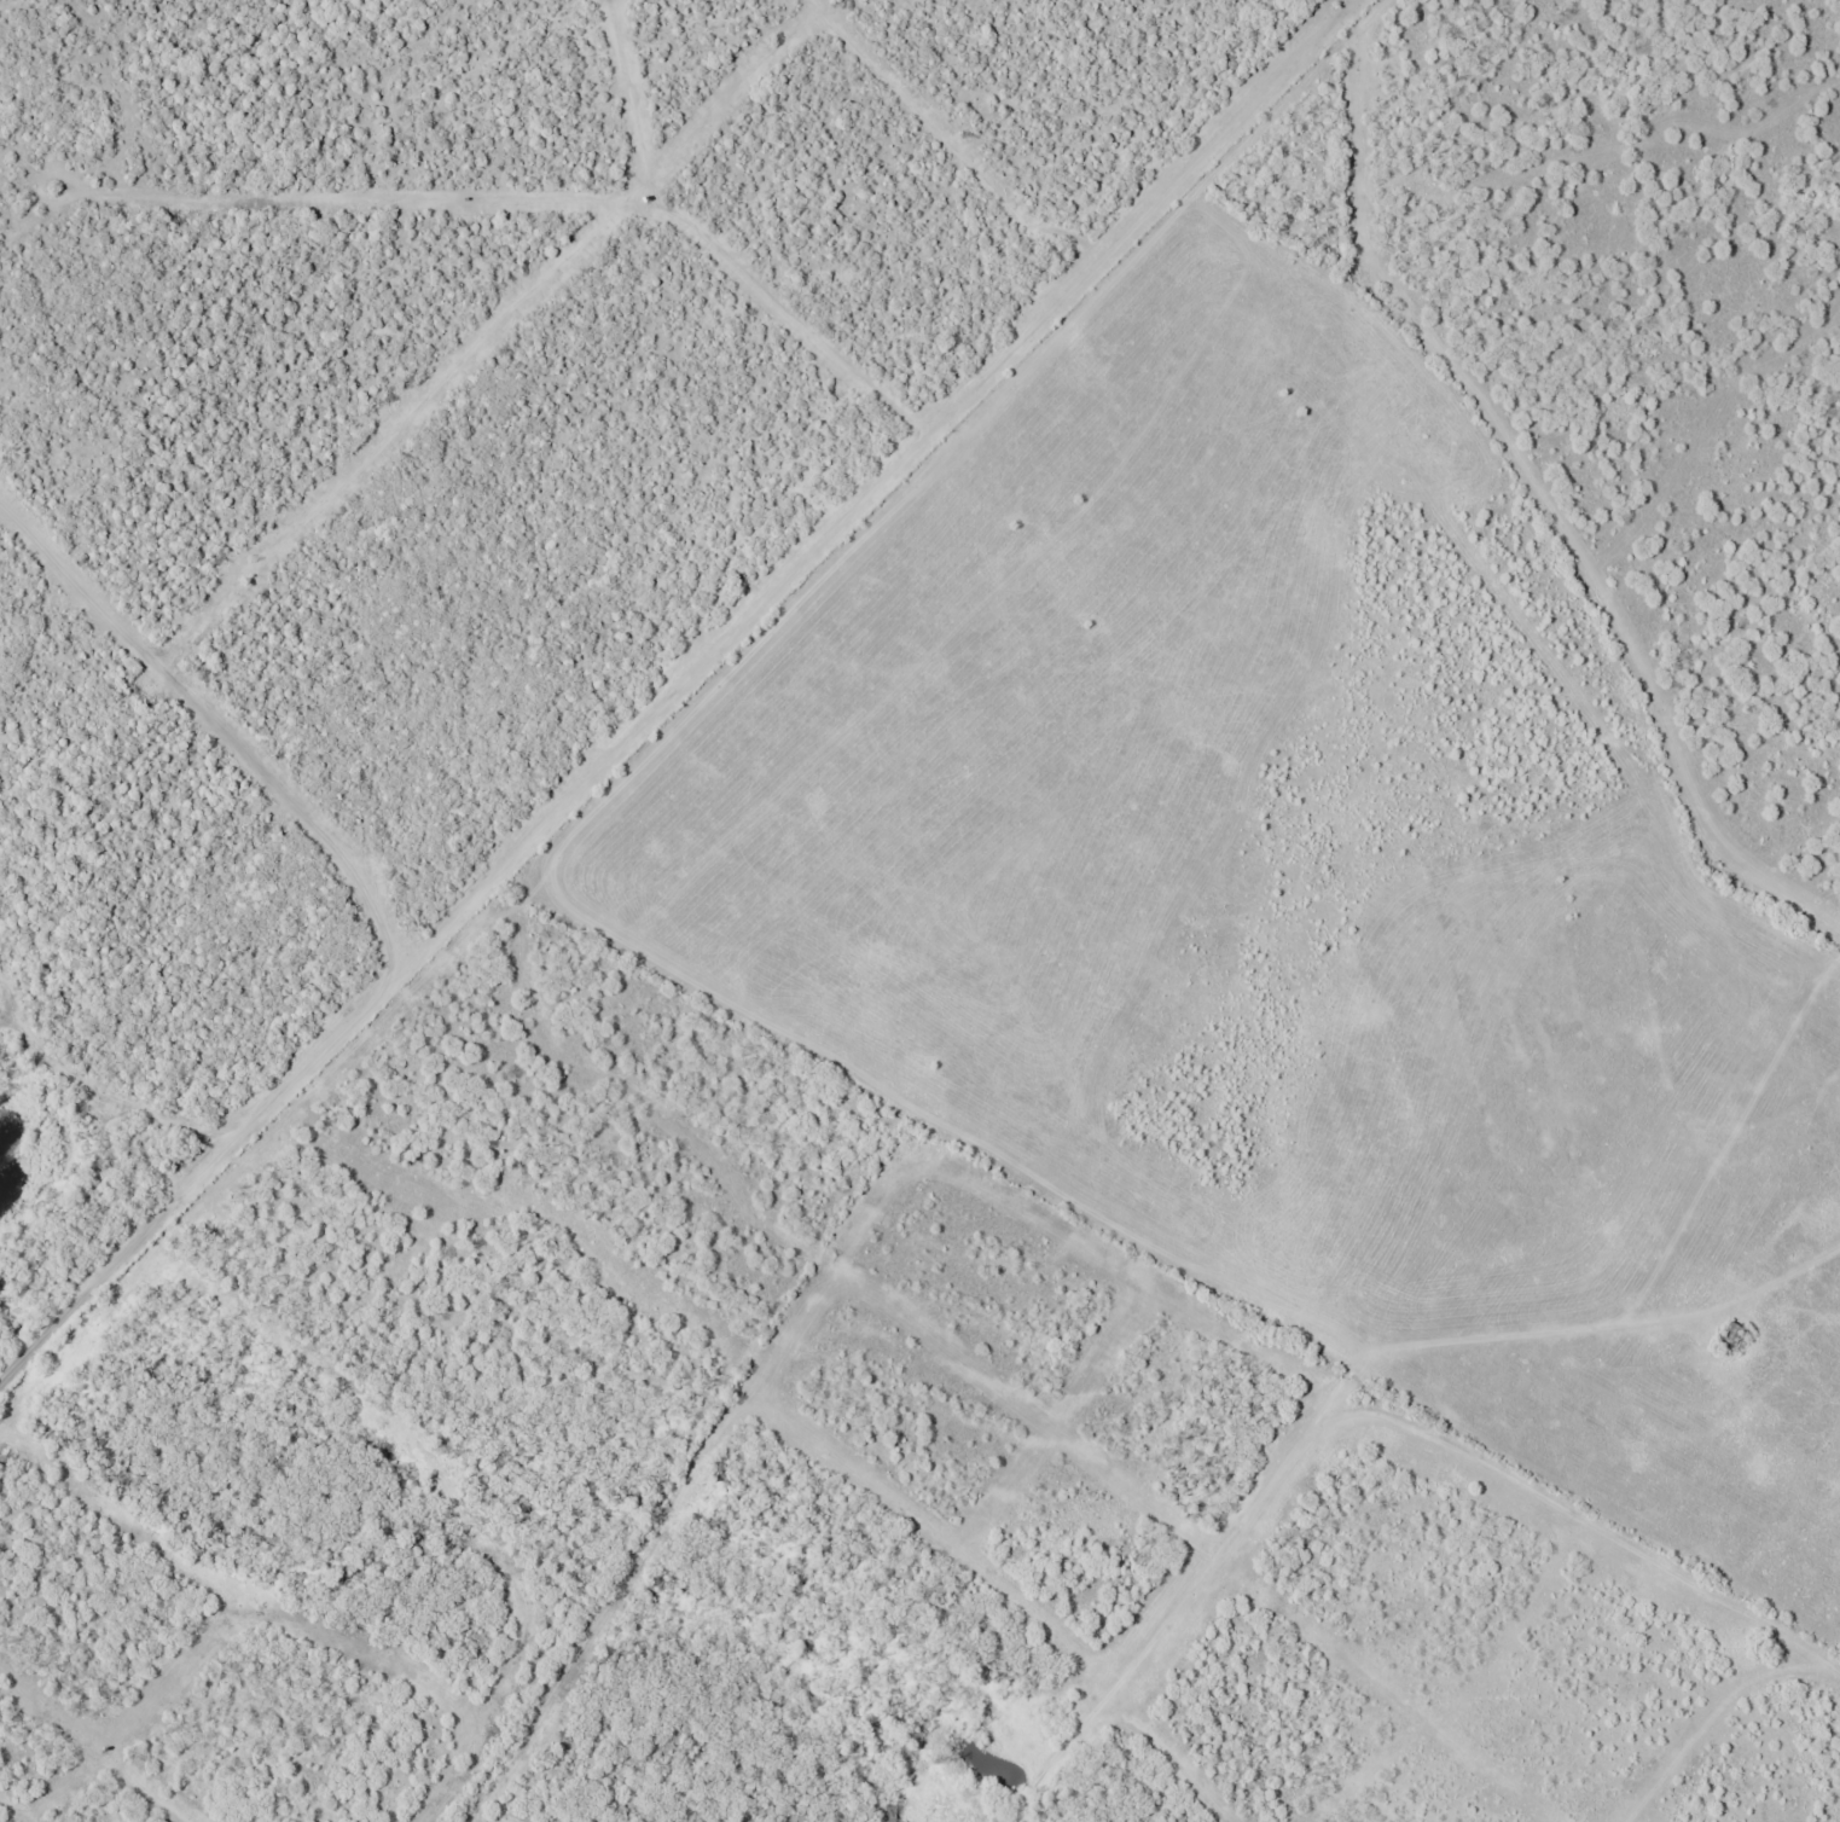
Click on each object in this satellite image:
building: (1730, 1338)

